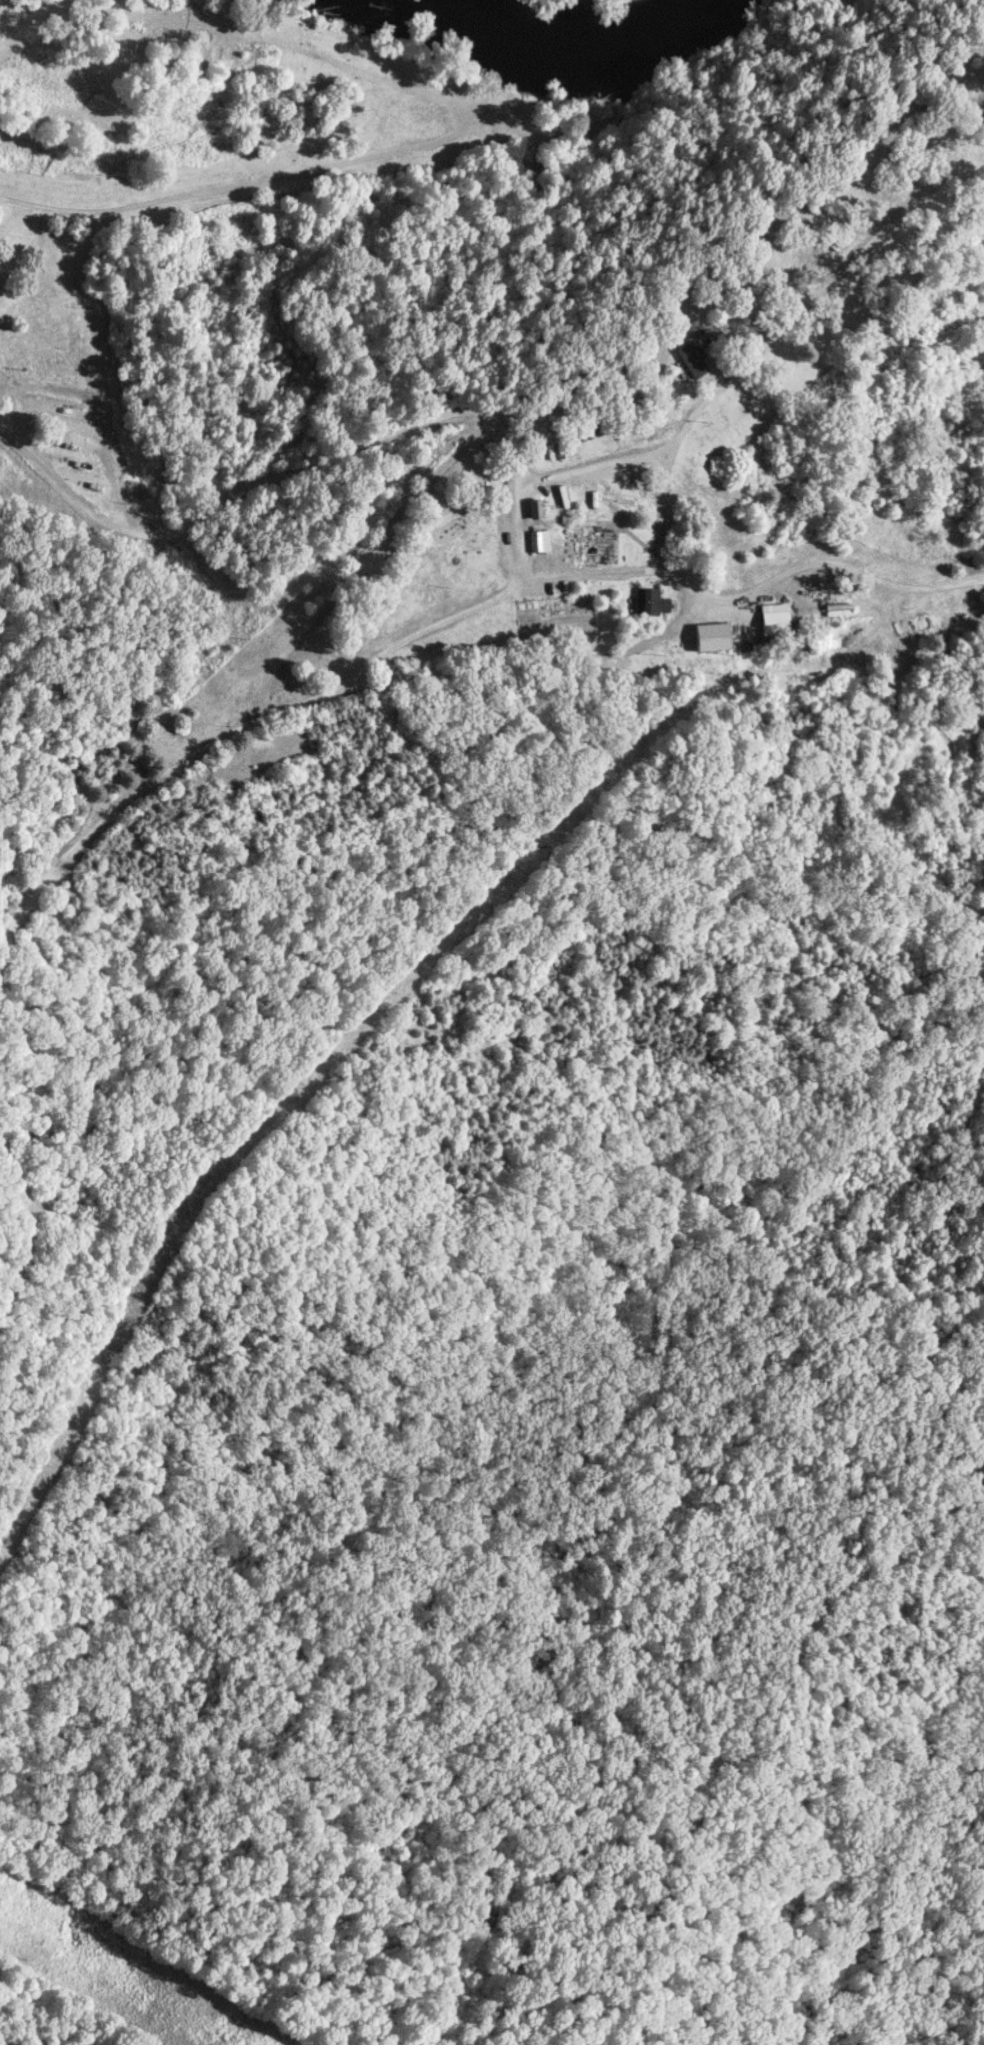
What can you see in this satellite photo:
river: (548, 57)
building: (688, 360)
road: (718, 380)
road: (670, 441)
building: (530, 508)
road: (513, 530)
building: (535, 541)
road: (654, 547)
road: (803, 558)
road: (487, 595)
building: (647, 602)
building: (769, 618)
building: (707, 637)
road: (15, 1259)

